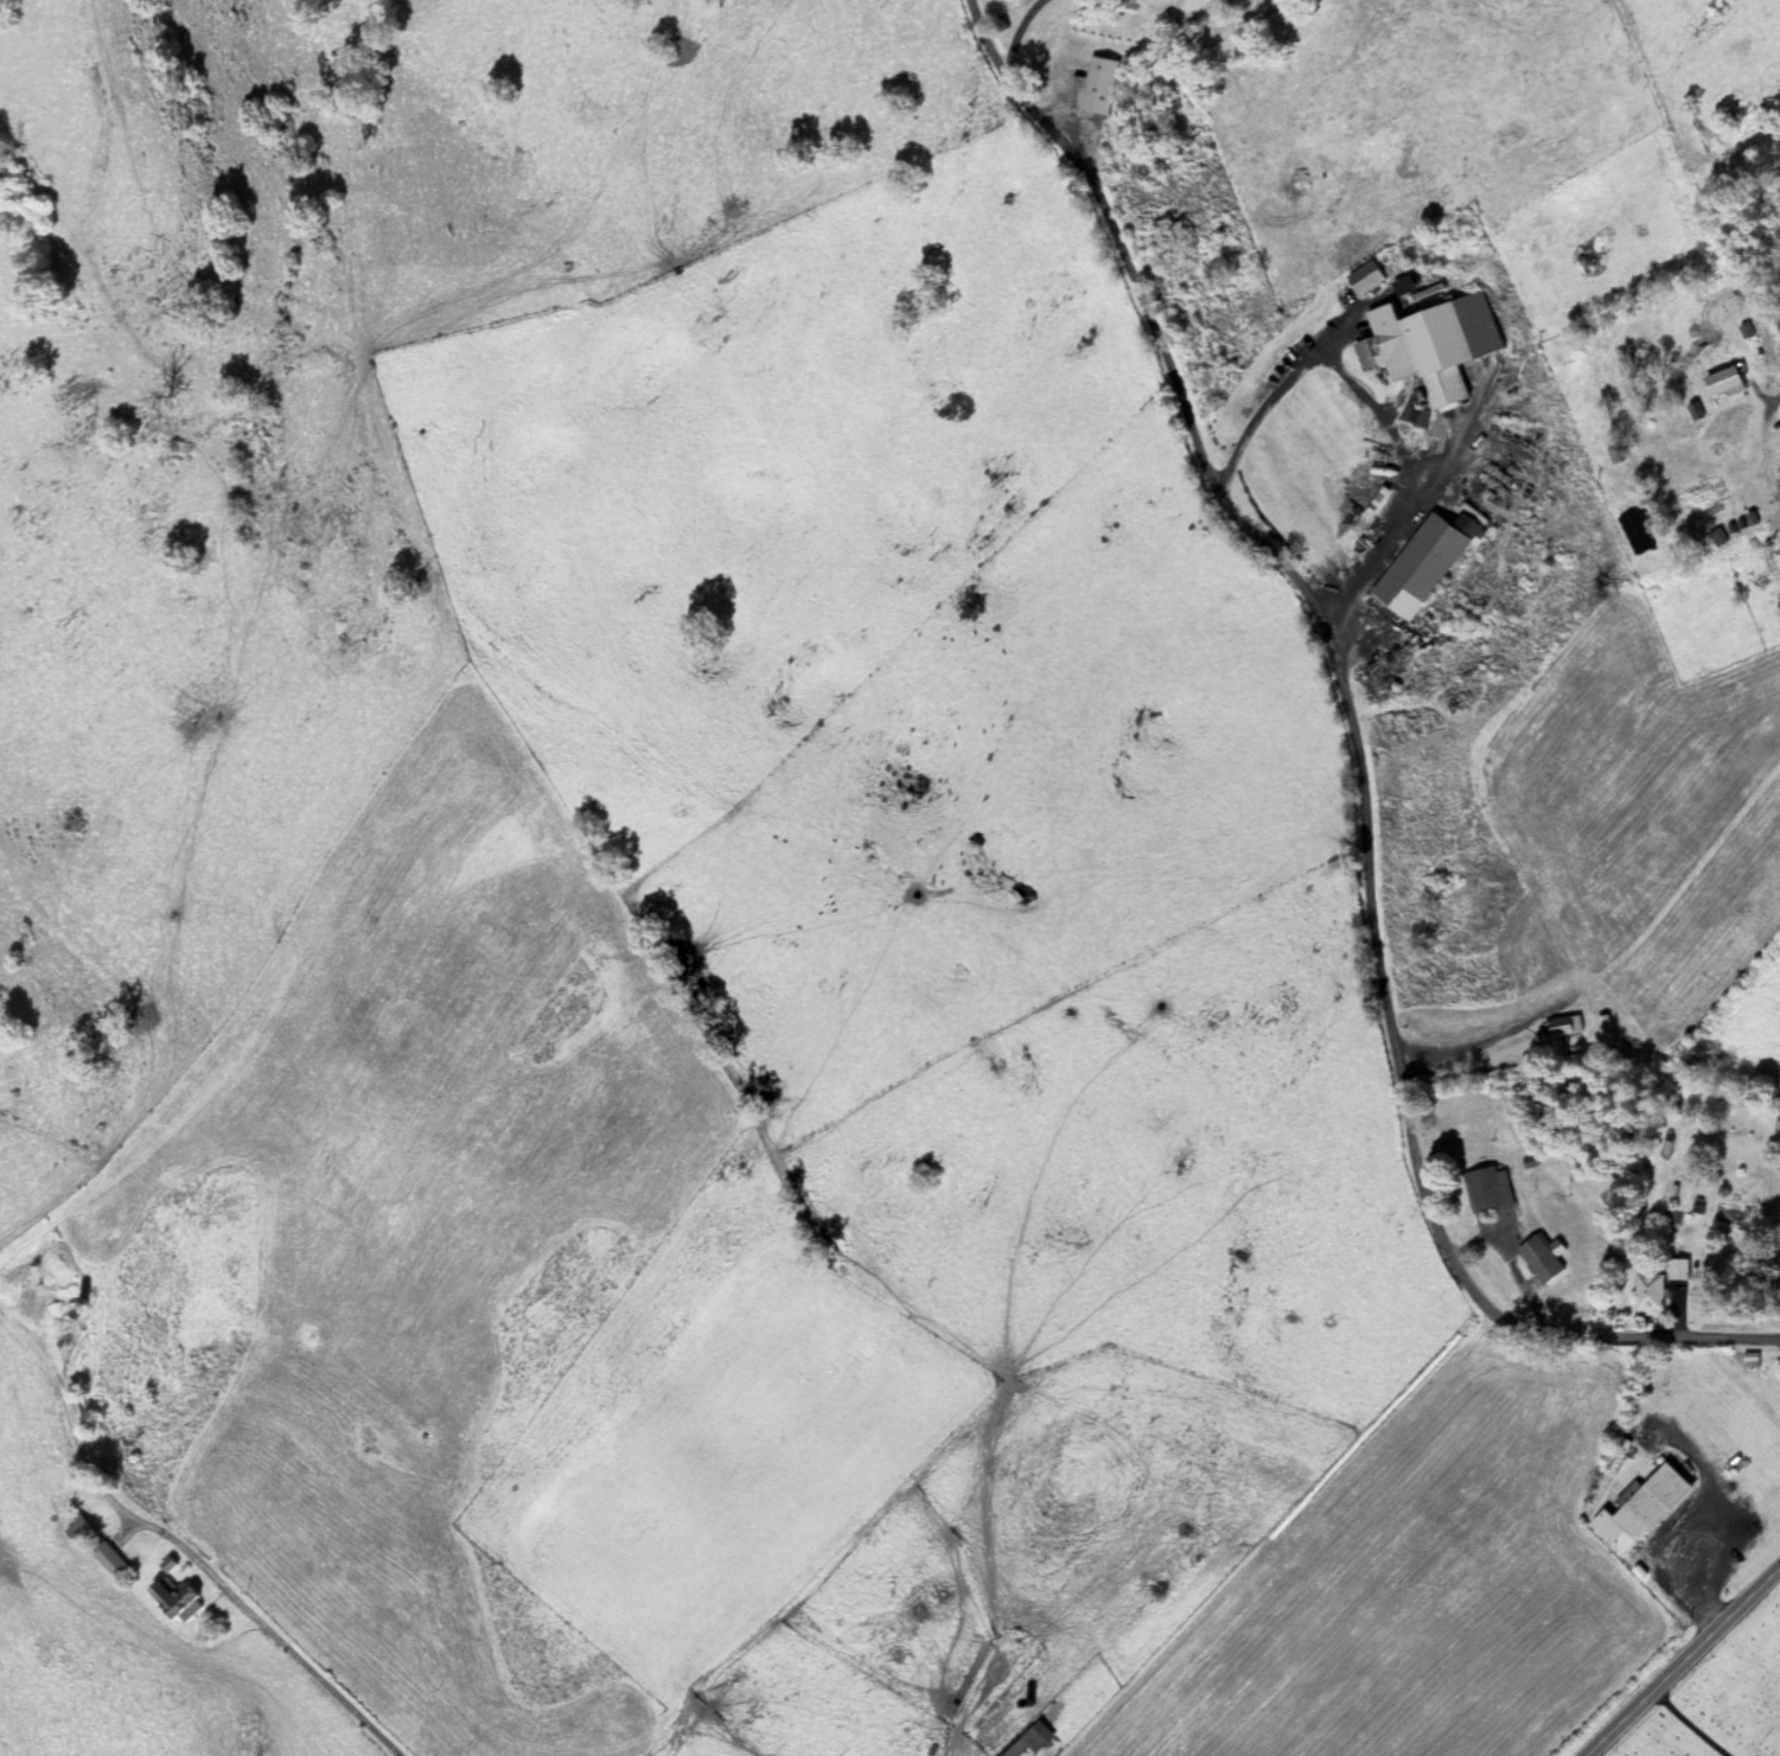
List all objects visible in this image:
building: (1098, 87)
building: (1370, 352)
building: (1437, 353)
building: (1401, 362)
building: (1722, 377)
road: (1280, 388)
road: (1415, 512)
building: (1634, 530)
building: (1419, 566)
road: (1359, 760)
building: (1563, 1027)
building: (1778, 1123)
building: (1487, 1190)
building: (1542, 1258)
building: (1678, 1270)
building: (1648, 1292)
building: (1618, 1458)
building: (1645, 1511)
building: (77, 1534)
building: (107, 1560)
road: (1769, 1581)
building: (171, 1598)
road: (267, 1632)
road: (1673, 1674)
park: (1722, 1698)
road: (1692, 1724)
building: (1007, 1735)

